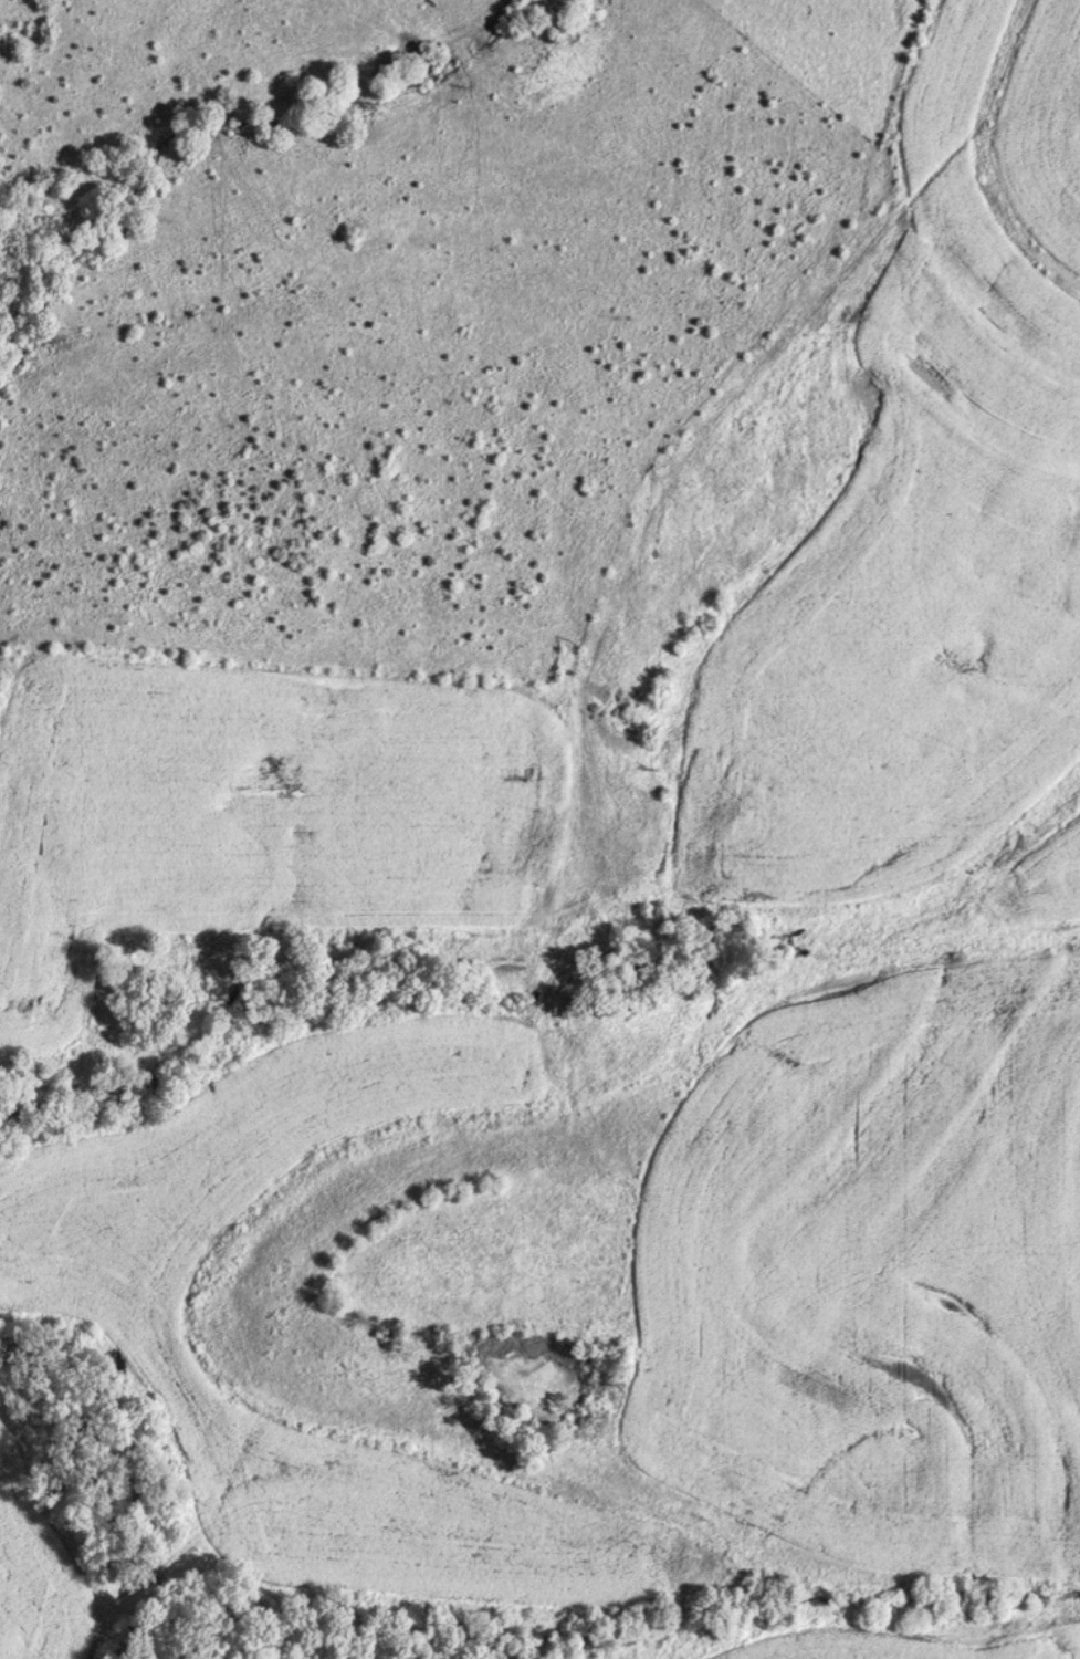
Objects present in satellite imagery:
road: (546, 926)

